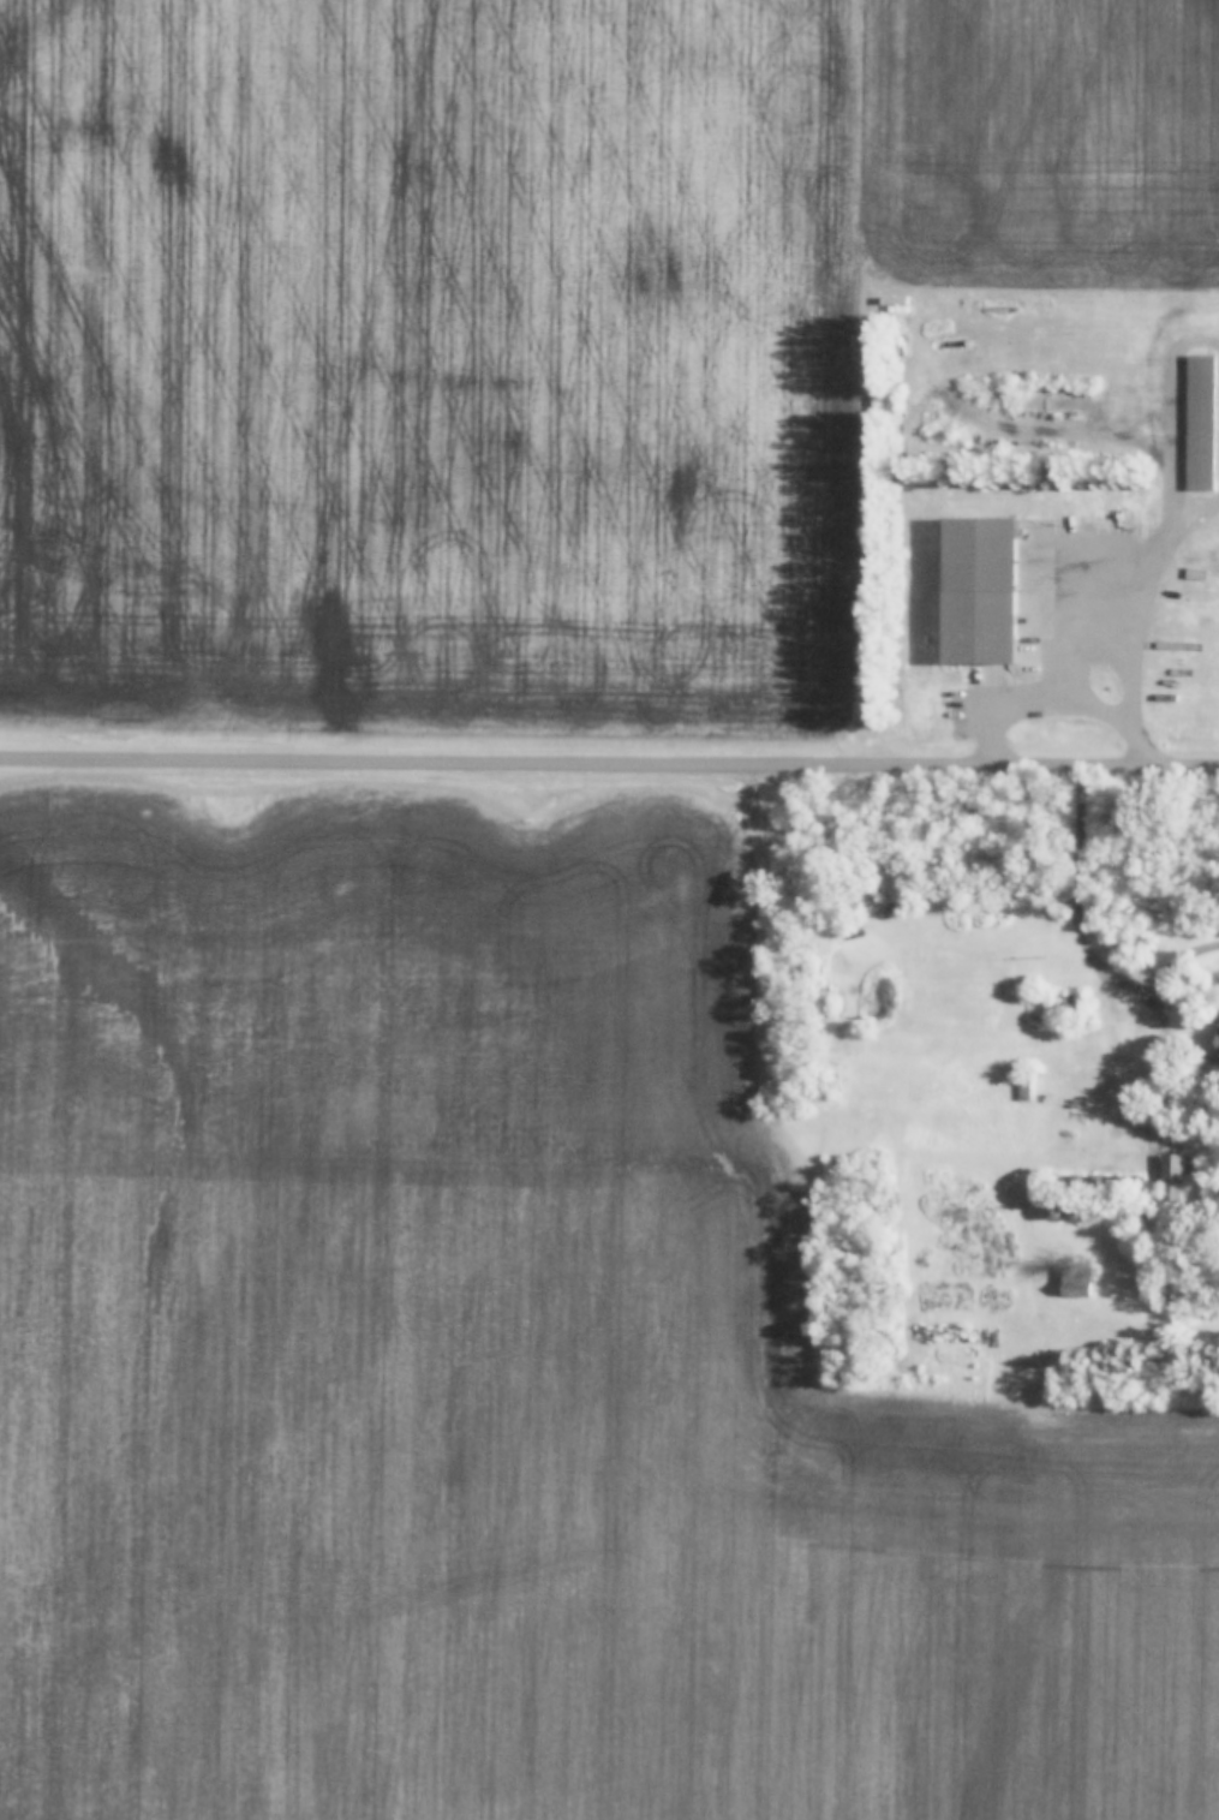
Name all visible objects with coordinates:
building: (895, 300)
building: (1200, 423)
road: (1153, 574)
building: (979, 590)
road: (1076, 656)
road: (1041, 702)
road: (609, 760)
road: (1084, 931)
building: (1131, 941)
building: (1218, 1040)
building: (1024, 1084)
building: (1171, 1178)
building: (1074, 1183)
silo: (1074, 1183)
building: (1095, 1183)
silo: (1095, 1183)
building: (1115, 1183)
silo: (1115, 1183)
building: (1133, 1183)
silo: (1133, 1183)
building: (1053, 1211)
silo: (1053, 1211)
building: (1074, 1211)
silo: (1074, 1211)
building: (1076, 1283)

